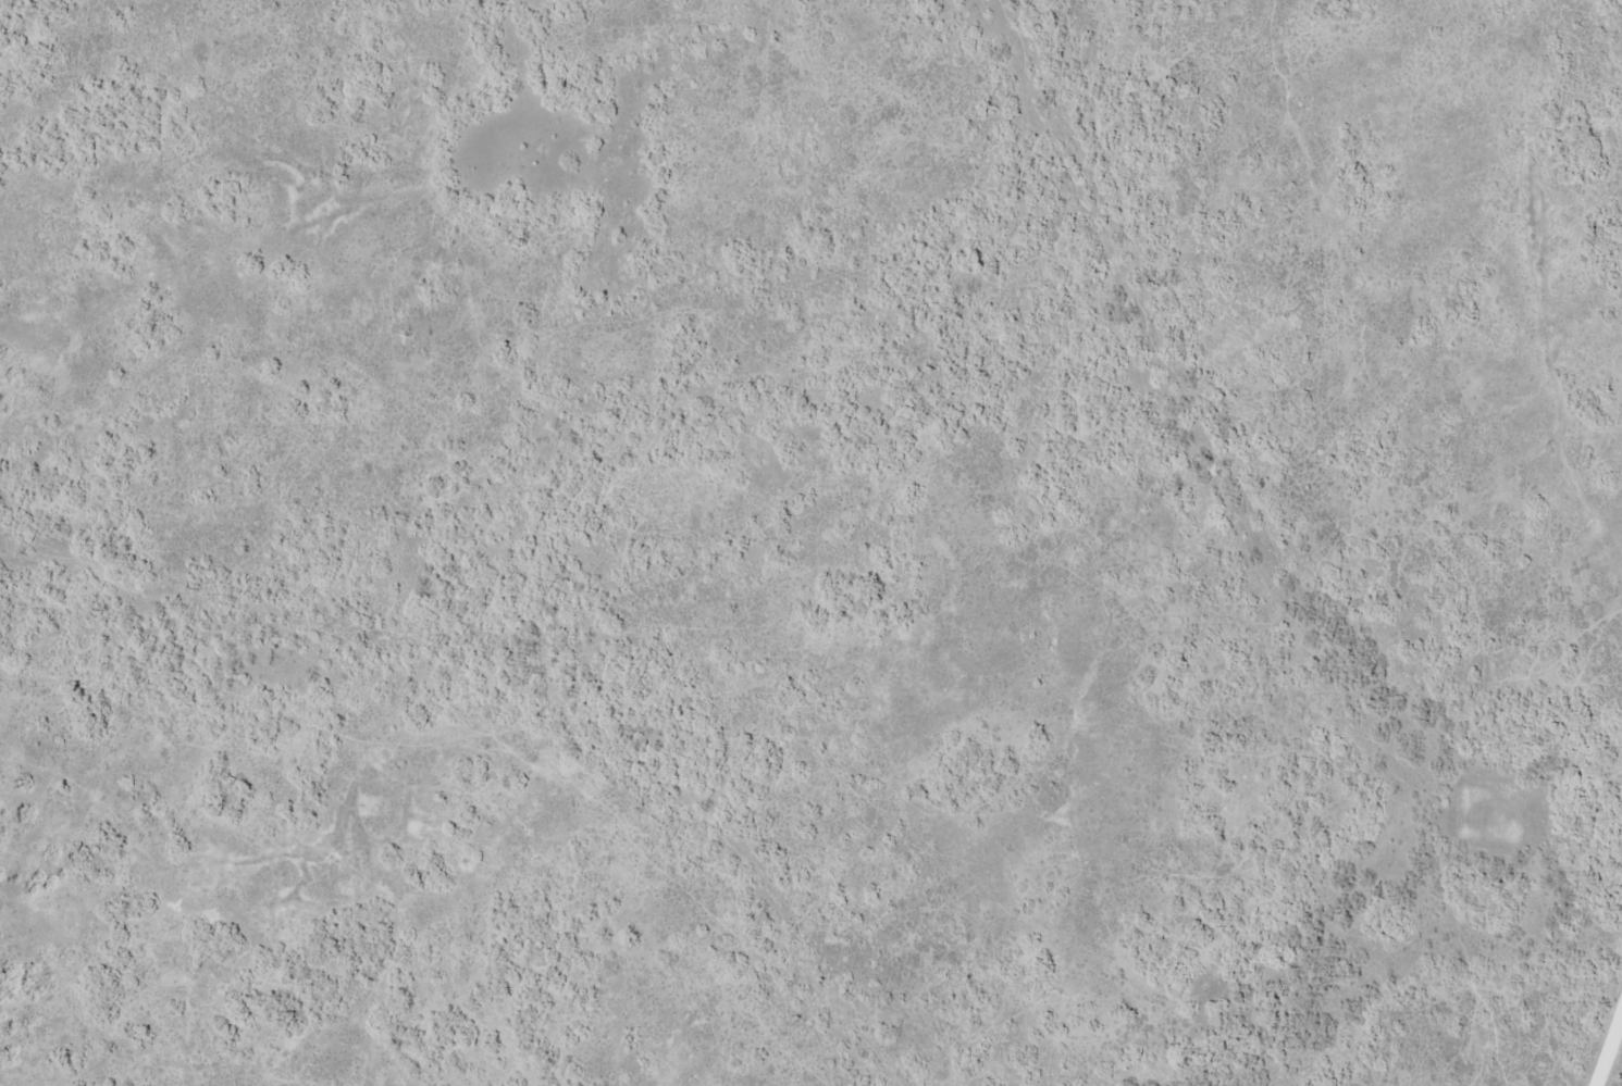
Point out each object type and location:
road: (1612, 32)
road: (1621, 1085)

